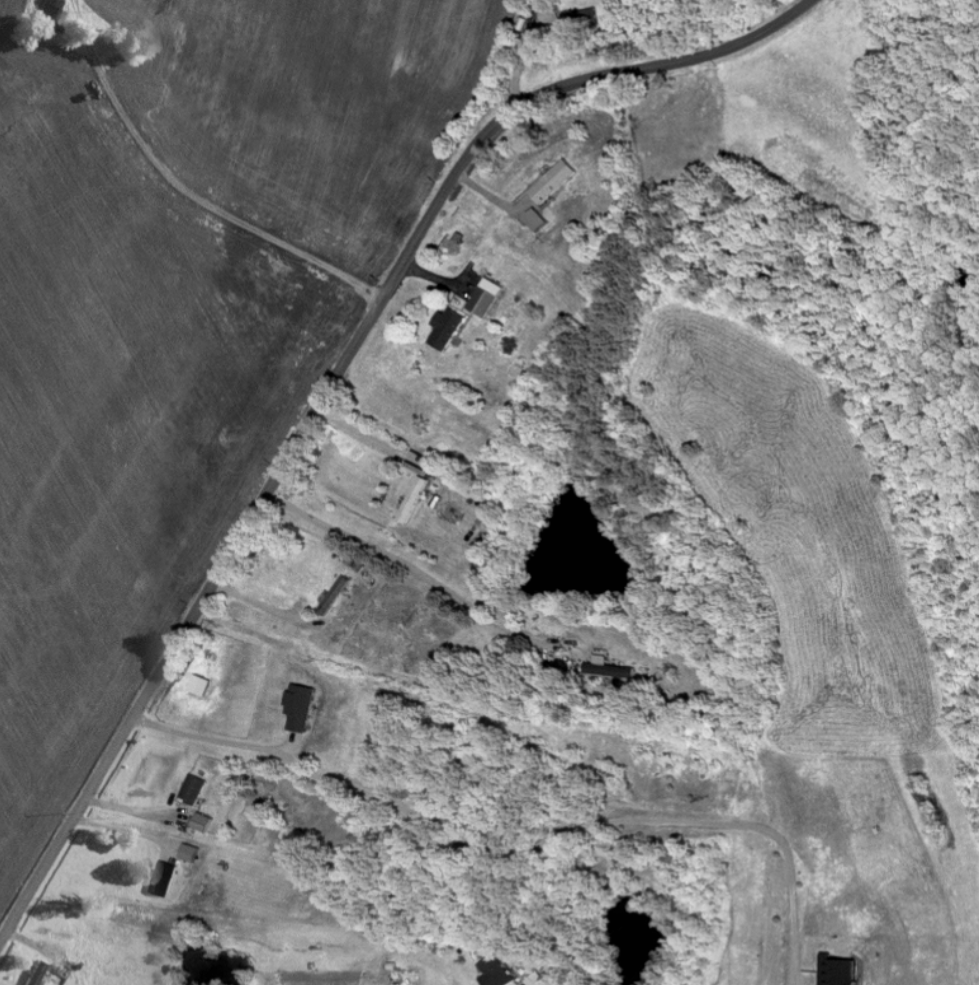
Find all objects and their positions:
building: (51, 15)
building: (554, 15)
building: (555, 182)
building: (536, 220)
building: (486, 298)
building: (448, 329)
road: (332, 385)
building: (610, 673)
building: (299, 707)
building: (194, 790)
building: (203, 823)
building: (191, 854)
building: (165, 880)
building: (495, 972)
building: (841, 972)
building: (37, 974)
building: (535, 980)

